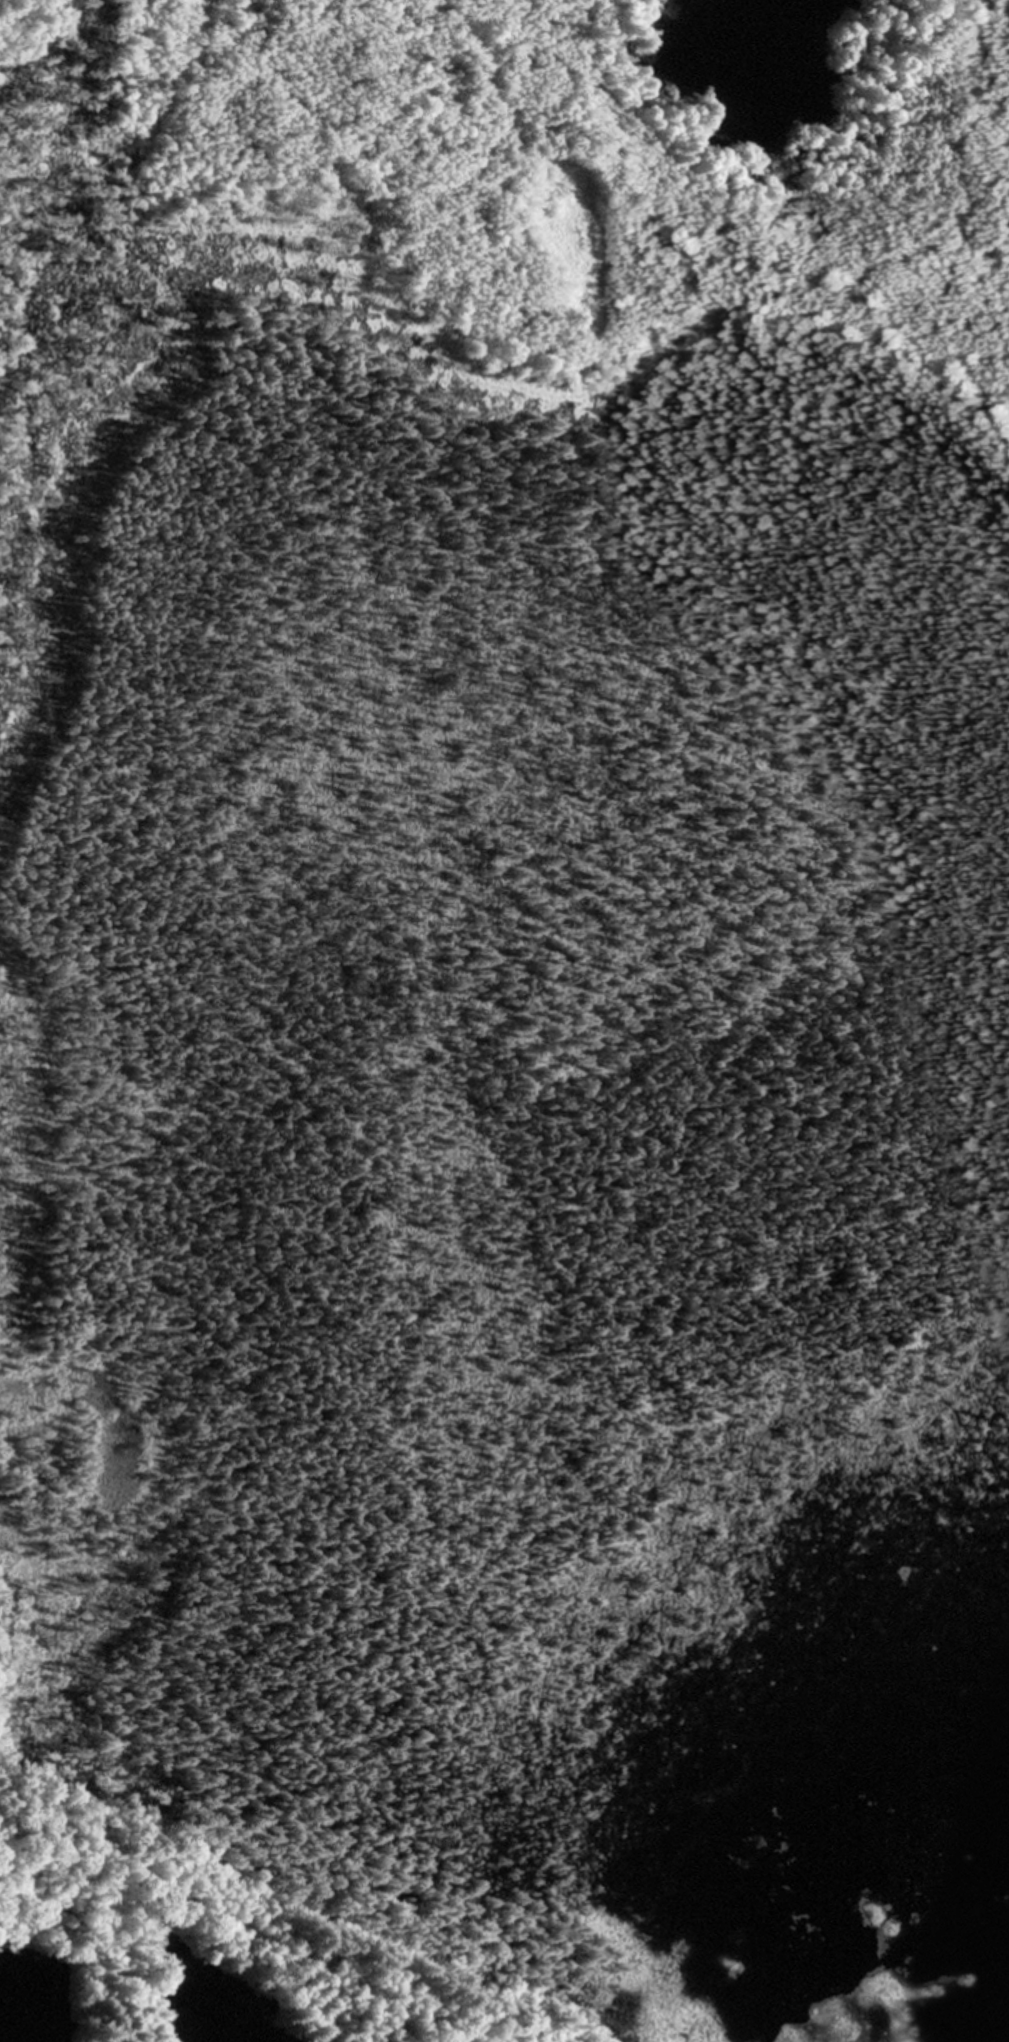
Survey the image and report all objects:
road: (253, 1933)
road: (93, 1946)

